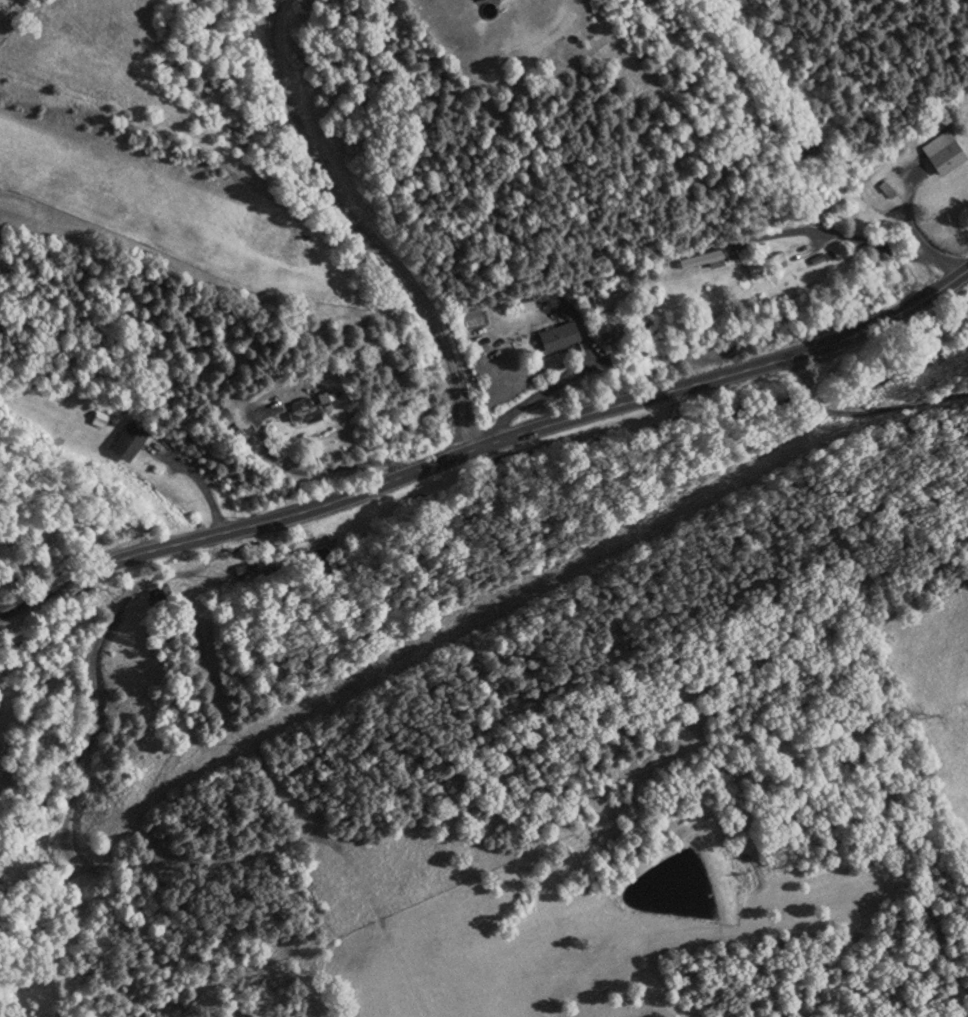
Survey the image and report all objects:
building: (941, 153)
road: (367, 230)
building: (699, 259)
building: (765, 263)
building: (607, 298)
building: (555, 336)
building: (305, 408)
road: (872, 409)
building: (126, 441)
road: (489, 447)
road: (203, 484)
road: (87, 515)
building: (158, 594)

